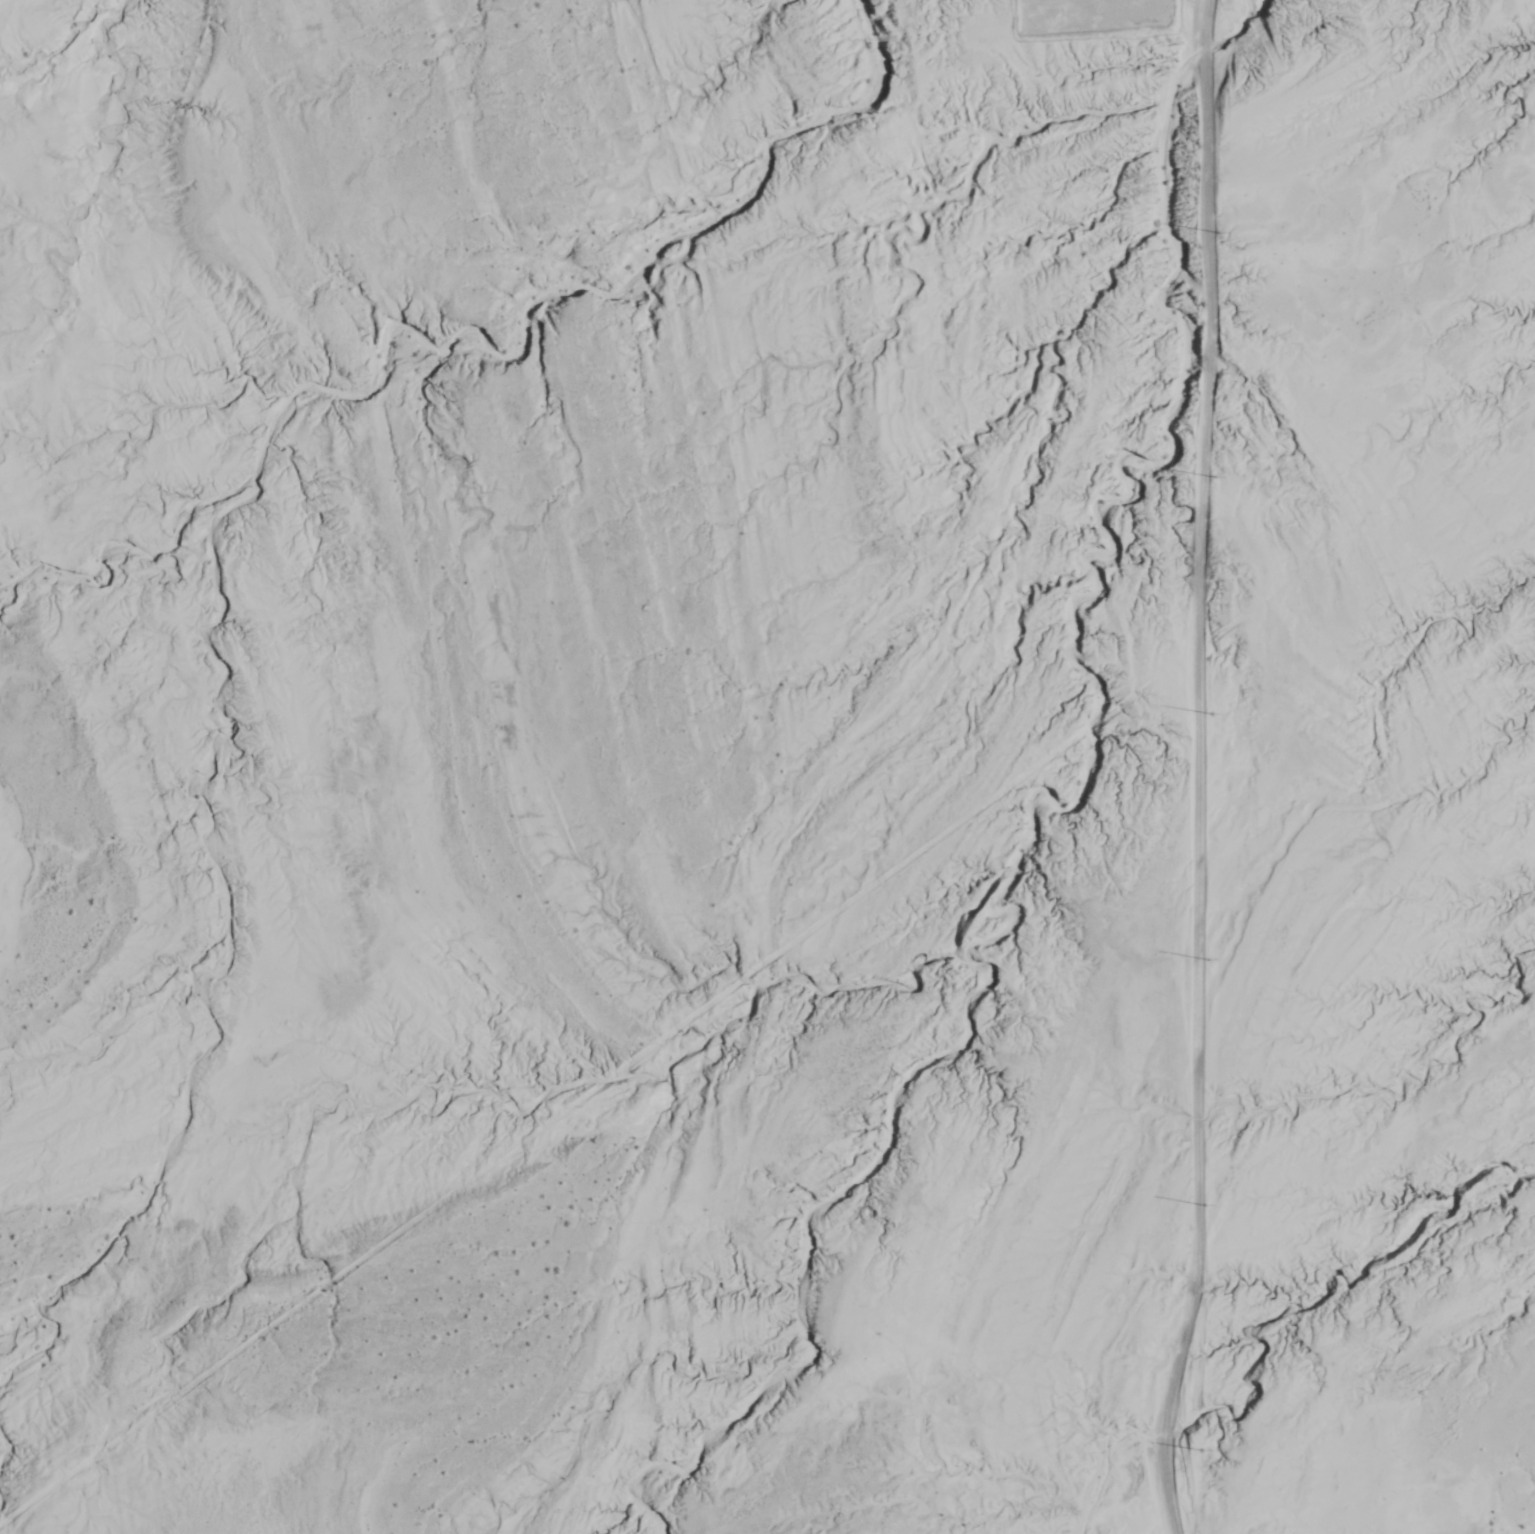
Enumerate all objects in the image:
road: (1198, 769)

